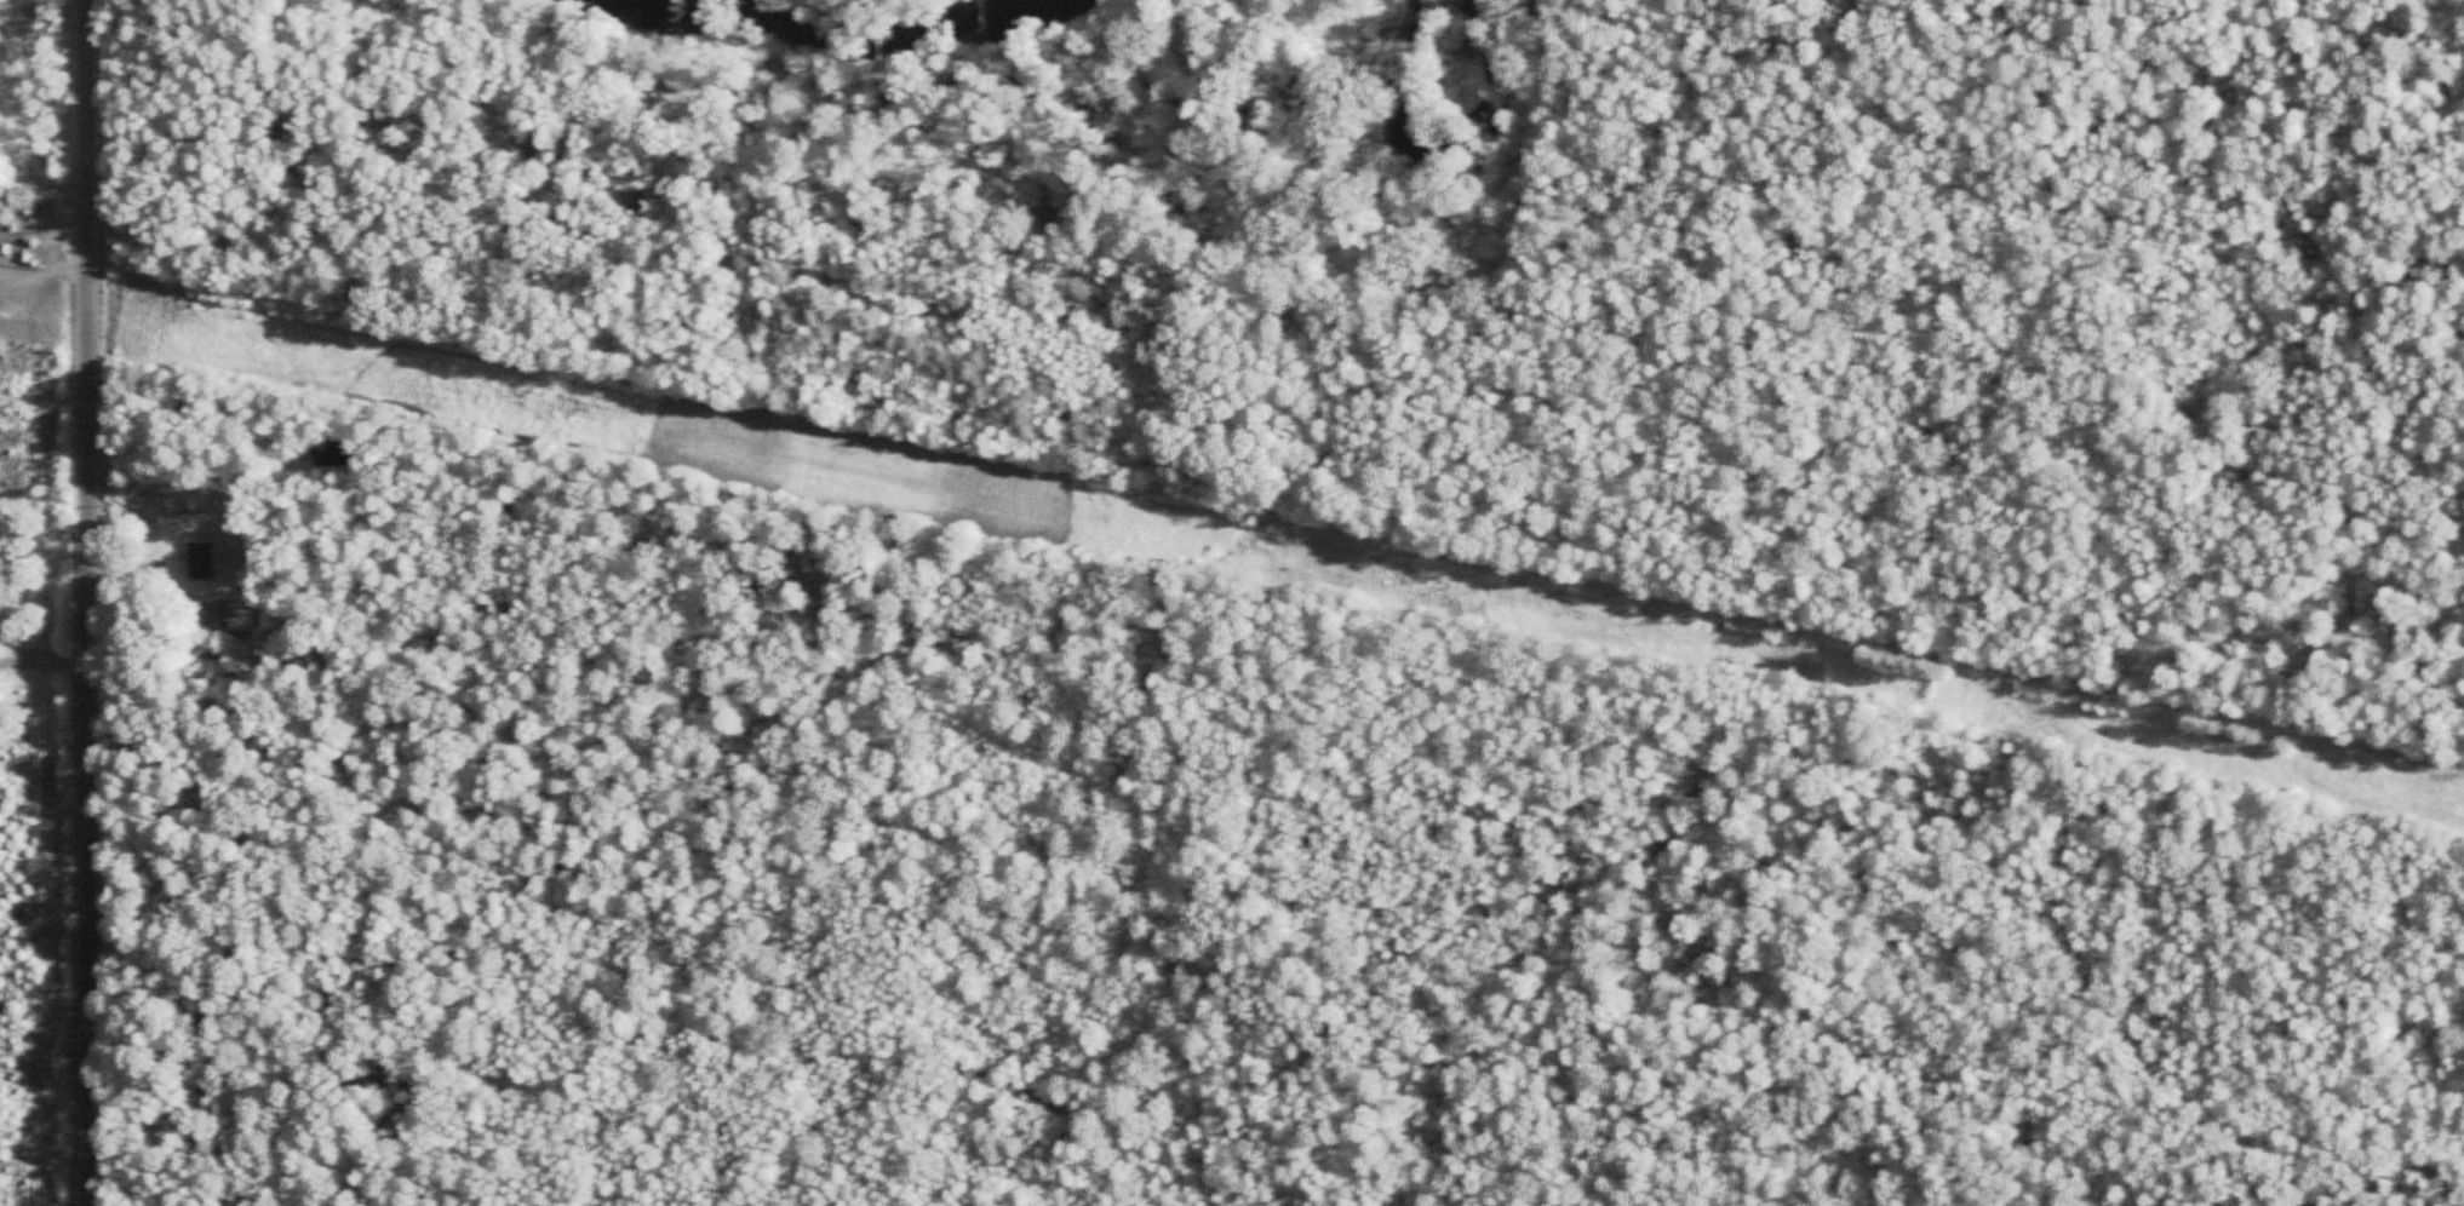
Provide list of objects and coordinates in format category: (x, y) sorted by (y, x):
river: (814, 44)
river: (1429, 145)
building: (199, 562)
road: (87, 603)

